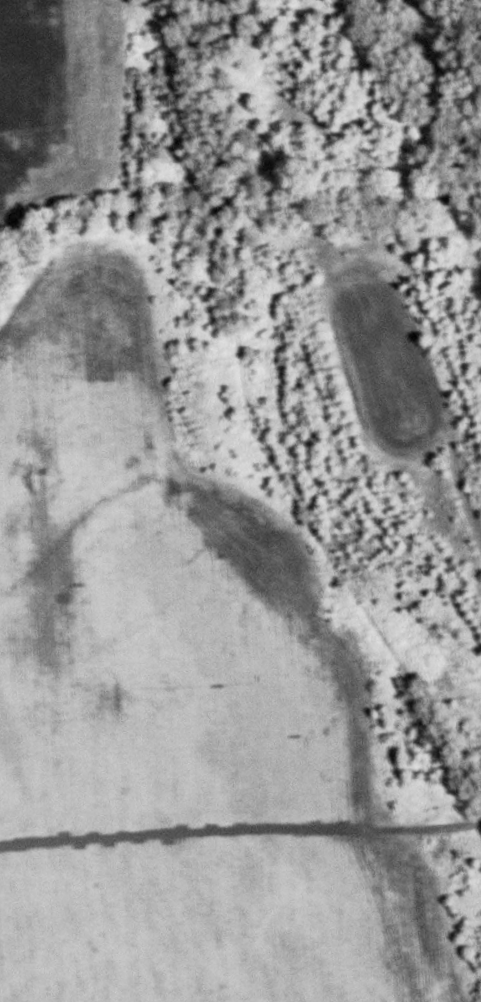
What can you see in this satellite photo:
road: (240, 825)

